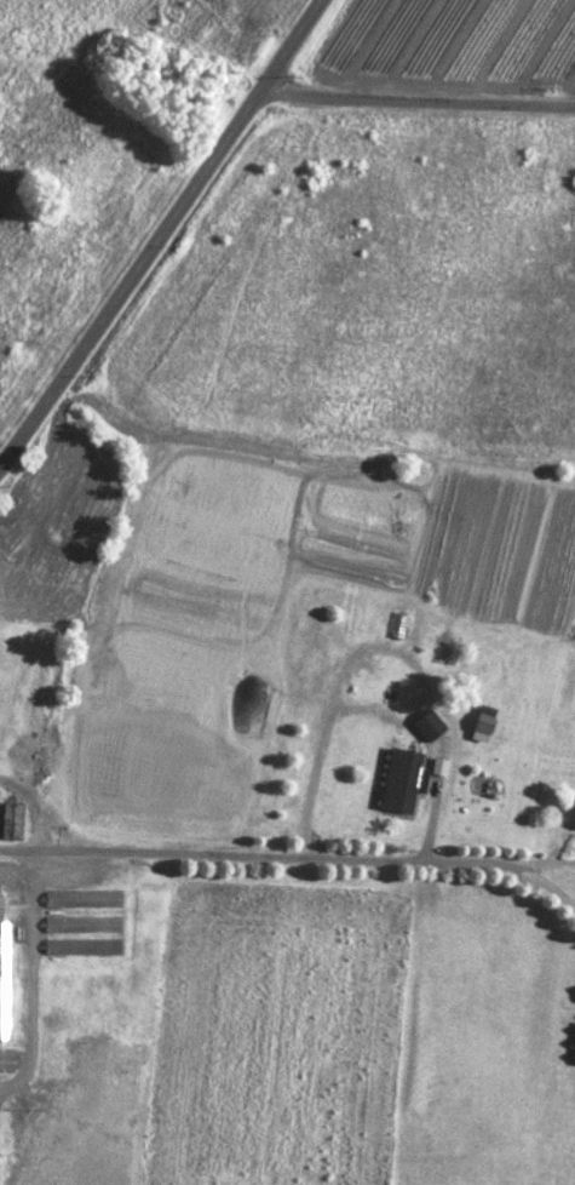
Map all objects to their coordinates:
road: (430, 103)
road: (166, 234)
building: (403, 591)
crop: (287, 592)
building: (482, 723)
building: (399, 782)
building: (10, 823)
building: (82, 900)
building: (7, 906)
building: (82, 924)
building: (82, 948)
building: (4, 983)

